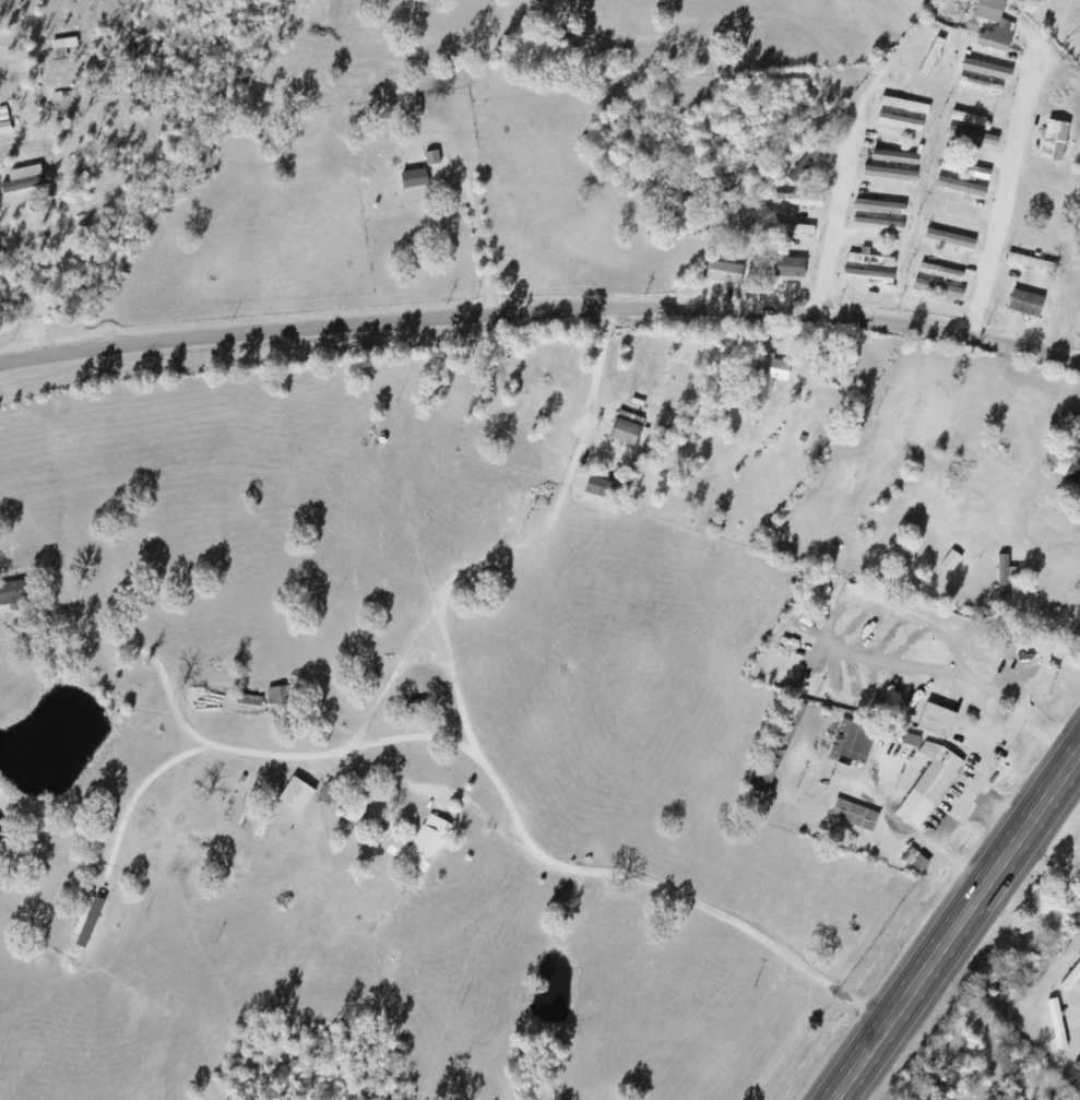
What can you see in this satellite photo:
building: (1001, 27)
building: (930, 58)
building: (985, 71)
building: (978, 87)
building: (903, 106)
building: (965, 119)
building: (898, 123)
building: (970, 138)
building: (1052, 142)
building: (892, 158)
building: (805, 164)
building: (962, 170)
building: (887, 175)
road: (843, 178)
building: (412, 180)
building: (959, 188)
road: (1005, 192)
building: (794, 201)
building: (877, 208)
building: (950, 223)
building: (876, 226)
building: (791, 230)
building: (948, 240)
building: (868, 260)
building: (1029, 263)
building: (780, 268)
building: (939, 273)
building: (722, 274)
building: (867, 279)
building: (937, 291)
building: (1023, 305)
road: (538, 308)
building: (762, 378)
building: (620, 433)
road: (49, 453)
building: (1066, 473)
building: (949, 561)
building: (1001, 588)
building: (11, 594)
building: (935, 722)
building: (909, 743)
building: (850, 746)
road: (462, 752)
building: (772, 755)
building: (934, 773)
road: (440, 795)
building: (852, 817)
building: (418, 847)
building: (1077, 898)
road: (956, 923)
building: (936, 1085)

